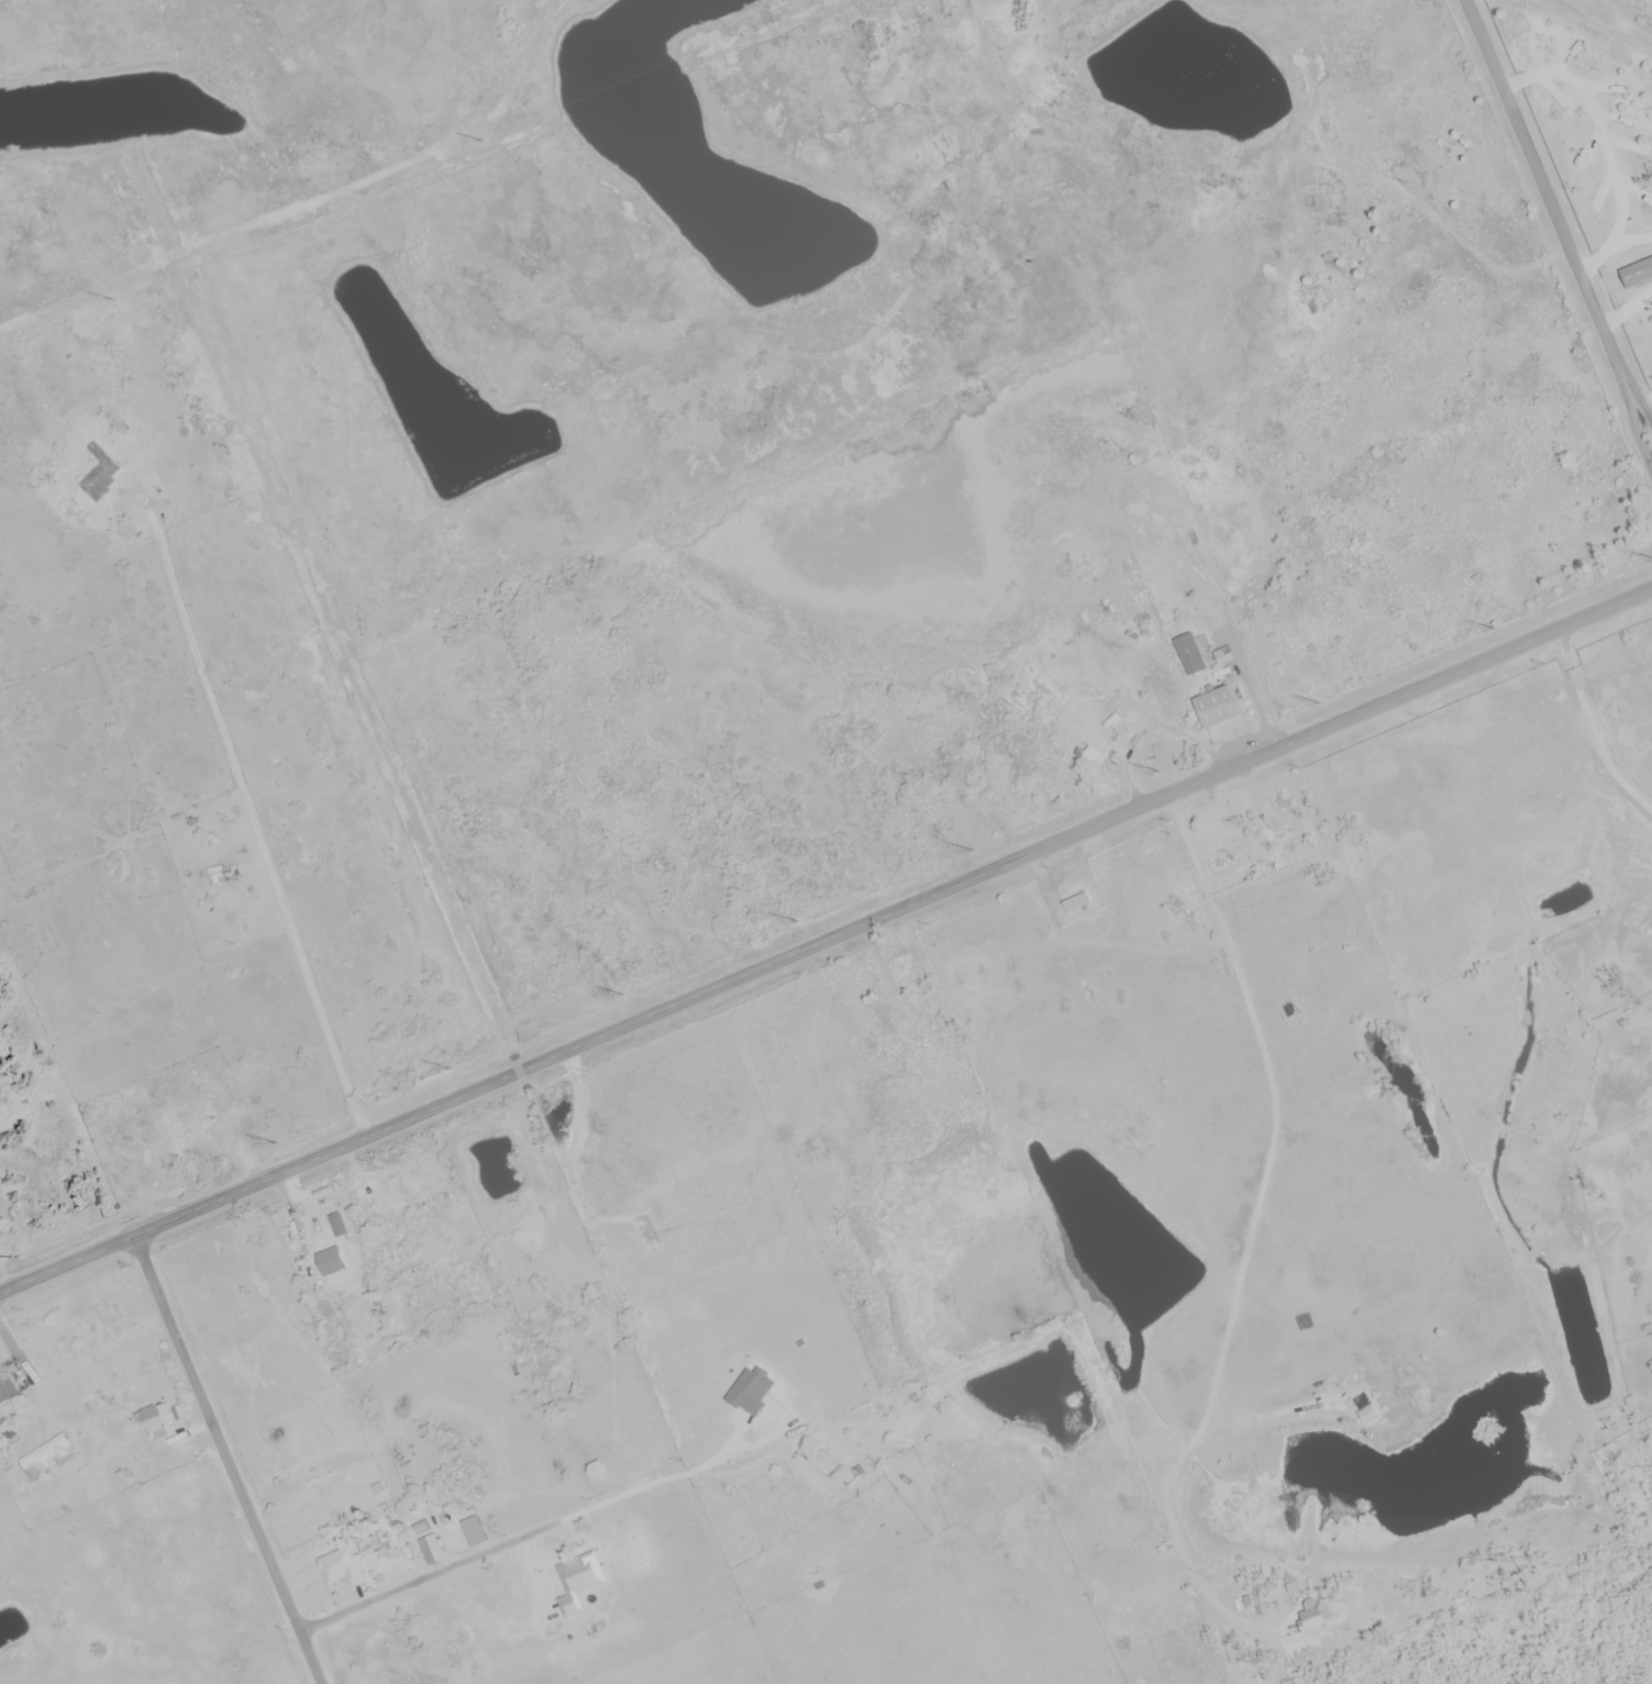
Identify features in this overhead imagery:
road: (1645, 36)
road: (1556, 213)
building: (1636, 275)
building: (97, 350)
building: (101, 478)
building: (1099, 739)
building: (1274, 826)
building: (224, 875)
building: (1072, 898)
road: (825, 939)
building: (901, 968)
building: (885, 1021)
building: (130, 1141)
building: (208, 1151)
building: (155, 1419)
building: (44, 1459)
road: (228, 1459)
building: (810, 1475)
road: (679, 1477)
building: (474, 1532)
building: (431, 1550)
road: (446, 1567)
building: (342, 1575)
building: (575, 1584)
building: (1294, 1589)

